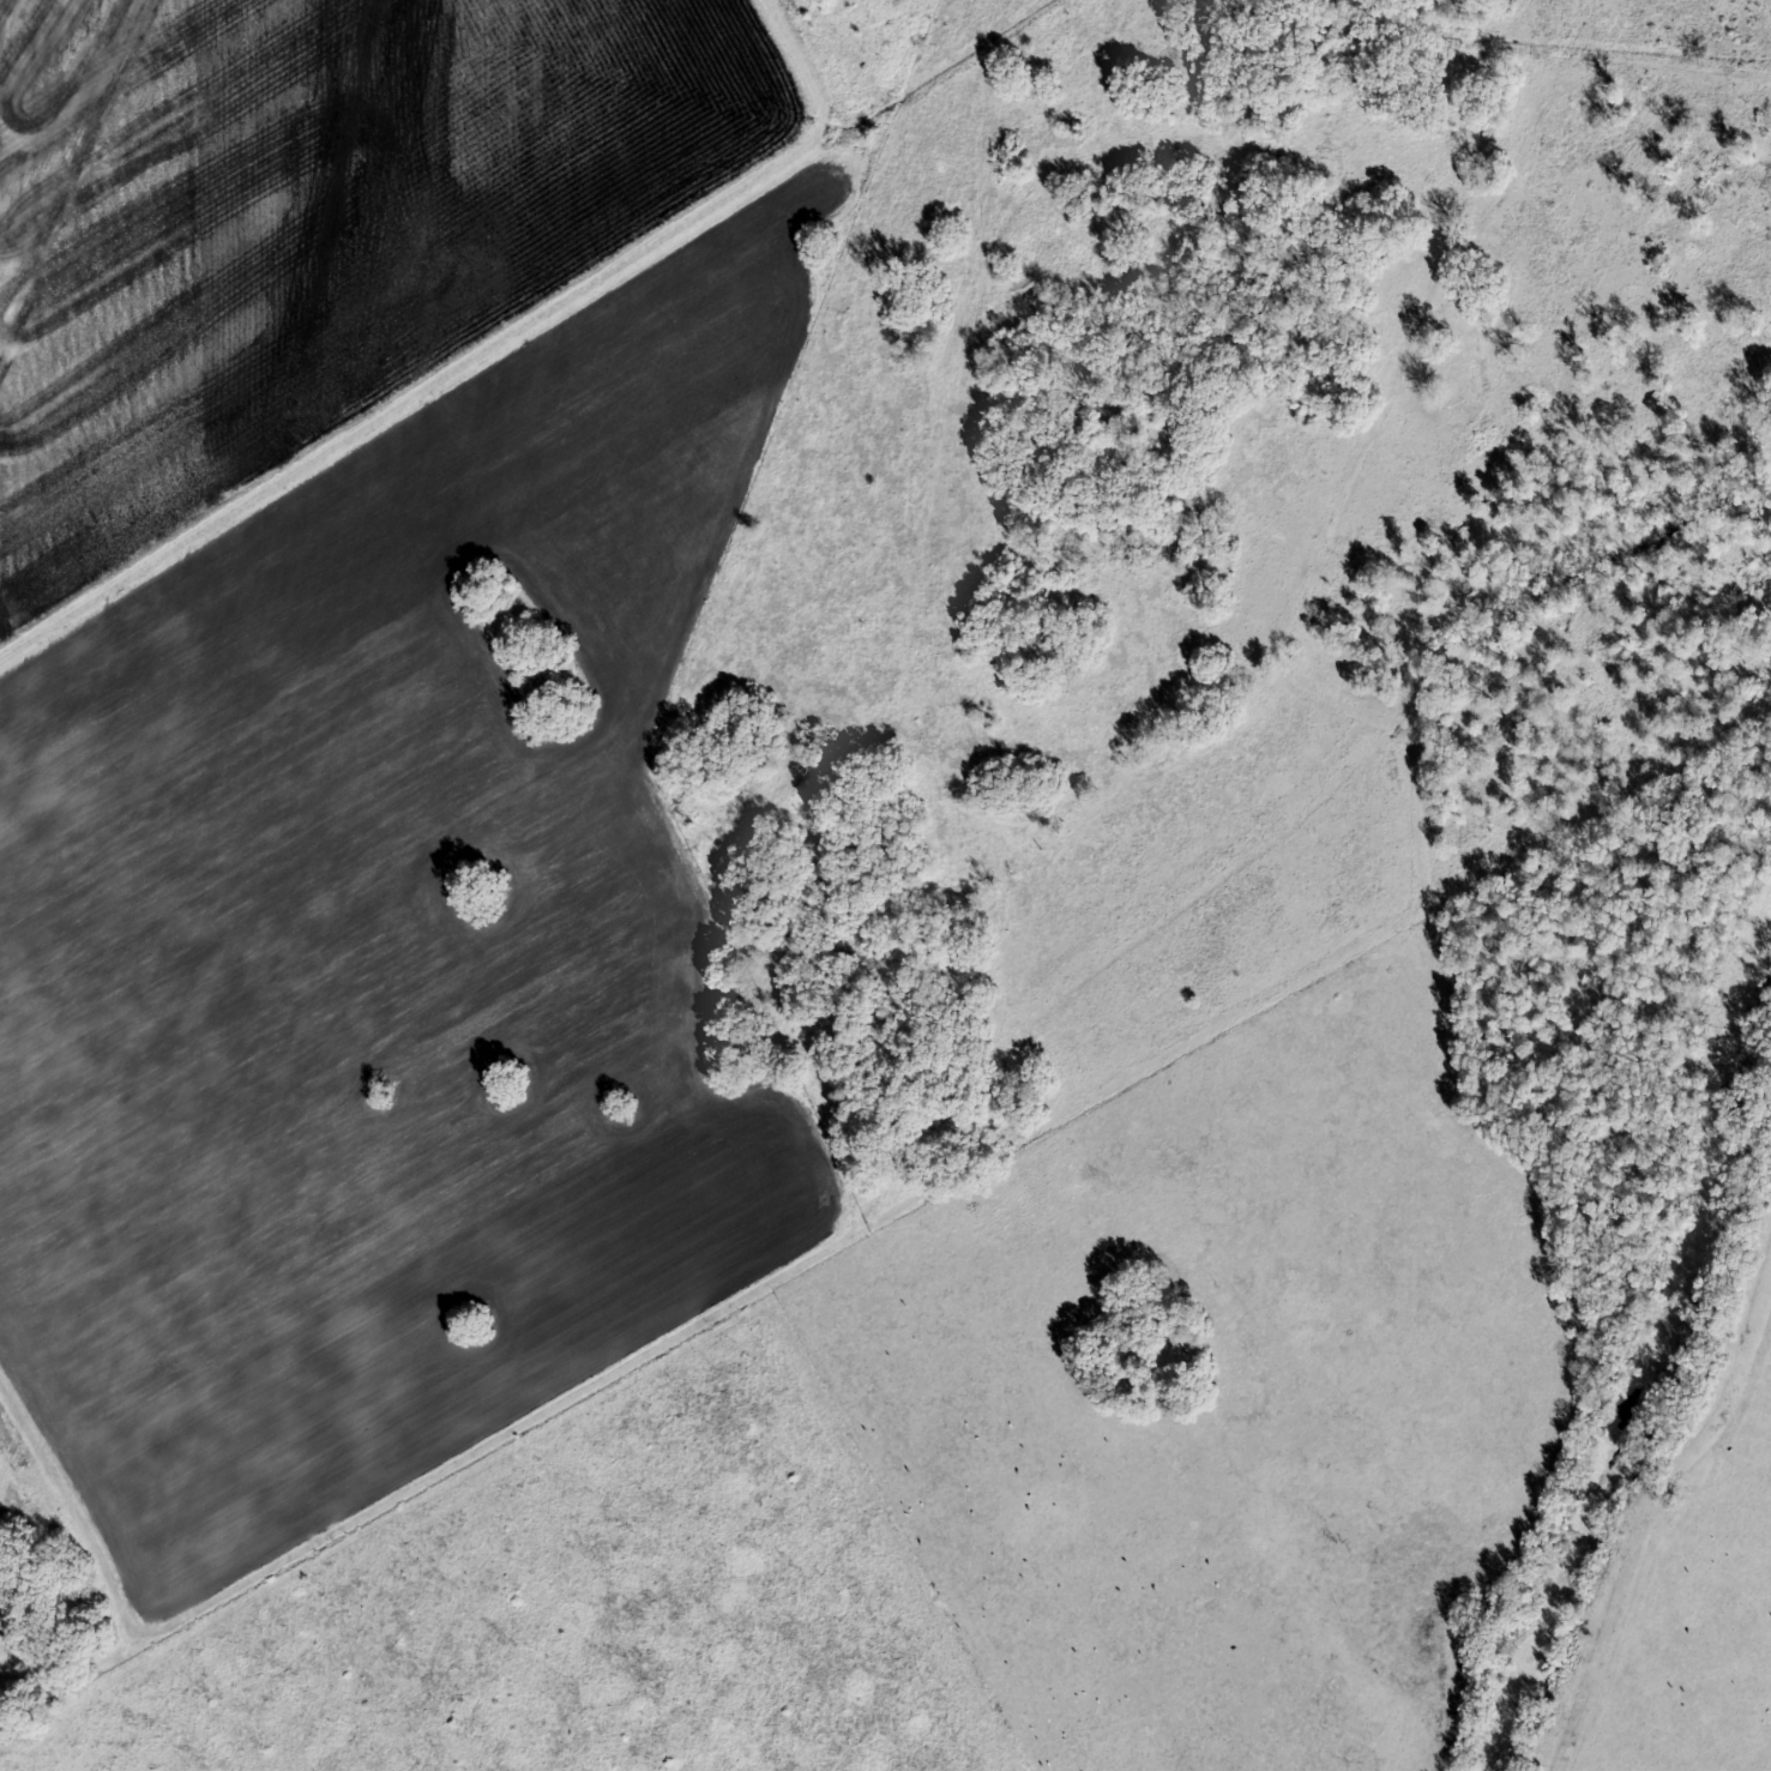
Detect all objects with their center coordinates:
road: (1380, 403)
road: (657, 1344)

